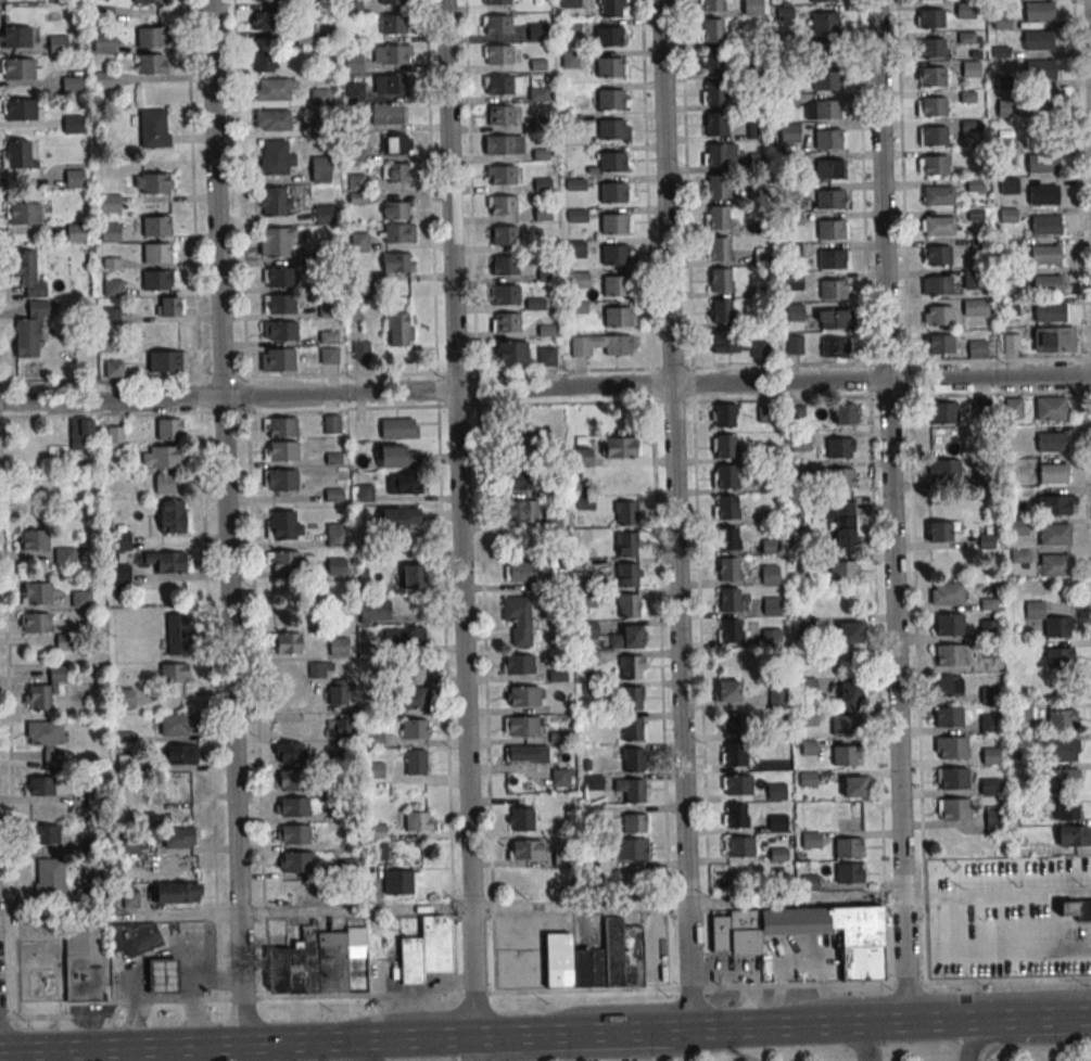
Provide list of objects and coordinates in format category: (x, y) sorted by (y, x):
building: (263, 0)
building: (148, 1)
building: (390, 1)
building: (496, 1)
building: (822, 1)
building: (302, 2)
building: (353, 4)
building: (711, 5)
building: (752, 7)
building: (609, 8)
building: (965, 10)
building: (1038, 11)
building: (930, 18)
building: (823, 22)
building: (265, 23)
building: (392, 24)
building: (496, 24)
building: (713, 29)
building: (536, 31)
building: (15, 36)
building: (152, 36)
building: (607, 36)
building: (304, 39)
building: (1036, 39)
building: (58, 43)
building: (103, 43)
building: (930, 48)
building: (824, 51)
building: (392, 54)
building: (497, 54)
building: (263, 61)
building: (712, 61)
building: (154, 63)
building: (353, 63)
building: (607, 66)
building: (20, 68)
building: (1039, 68)
building: (933, 77)
building: (104, 79)
building: (824, 80)
building: (71, 84)
building: (393, 85)
building: (498, 85)
building: (275, 89)
building: (354, 92)
building: (713, 92)
building: (538, 94)
building: (320, 97)
building: (608, 98)
building: (933, 106)
building: (1006, 107)
building: (22, 108)
building: (826, 110)
building: (386, 114)
building: (498, 114)
building: (272, 119)
building: (72, 124)
building: (714, 124)
building: (971, 126)
building: (153, 128)
building: (609, 128)
building: (789, 132)
building: (933, 136)
building: (826, 139)
building: (396, 143)
building: (500, 144)
building: (355, 153)
building: (16, 154)
building: (719, 155)
building: (277, 158)
building: (610, 162)
building: (1039, 163)
building: (934, 164)
building: (320, 168)
building: (827, 169)
building: (396, 172)
building: (502, 176)
building: (75, 178)
building: (154, 183)
building: (540, 184)
building: (718, 187)
building: (357, 189)
building: (611, 192)
building: (1042, 194)
building: (938, 195)
building: (828, 200)
building: (275, 201)
building: (110, 203)
building: (502, 205)
building: (394, 210)
building: (23, 213)
building: (324, 214)
building: (576, 215)
building: (1008, 215)
building: (716, 217)
building: (612, 223)
building: (1044, 225)
building: (157, 226)
building: (937, 226)
building: (829, 229)
building: (76, 232)
building: (110, 232)
building: (395, 232)
building: (503, 235)
building: (277, 242)
building: (719, 248)
building: (792, 251)
building: (157, 253)
building: (613, 255)
building: (936, 255)
building: (1043, 255)
building: (829, 258)
building: (396, 263)
building: (505, 266)
road: (668, 272)
building: (28, 273)
building: (279, 277)
building: (974, 279)
building: (158, 280)
building: (579, 280)
building: (721, 280)
building: (937, 284)
building: (614, 285)
building: (1045, 285)
building: (112, 287)
building: (830, 289)
building: (506, 295)
building: (278, 304)
building: (169, 307)
building: (975, 307)
building: (1010, 307)
building: (721, 311)
building: (1046, 312)
building: (937, 315)
building: (616, 317)
building: (832, 320)
building: (507, 323)
building: (399, 329)
building: (29, 330)
building: (279, 330)
building: (1054, 340)
building: (737, 344)
building: (795, 344)
building: (939, 344)
building: (1010, 344)
building: (616, 345)
building: (834, 347)
building: (977, 348)
building: (360, 349)
building: (511, 351)
building: (329, 355)
building: (546, 356)
building: (277, 359)
building: (167, 362)
building: (113, 369)
road: (545, 384)
road: (891, 384)
road: (887, 395)
building: (1012, 408)
building: (1050, 408)
building: (797, 410)
building: (980, 410)
building: (845, 412)
building: (942, 412)
building: (765, 413)
building: (725, 414)
building: (331, 424)
building: (281, 427)
building: (170, 429)
building: (398, 429)
building: (80, 434)
road: (224, 437)
building: (510, 439)
building: (1051, 440)
building: (724, 445)
building: (621, 447)
building: (838, 447)
building: (281, 451)
building: (396, 456)
building: (582, 457)
building: (164, 465)
building: (943, 470)
building: (1053, 473)
building: (725, 476)
building: (838, 477)
building: (281, 480)
building: (520, 481)
building: (403, 483)
building: (1056, 504)
building: (726, 507)
building: (520, 510)
building: (626, 513)
building: (173, 515)
road: (460, 517)
building: (399, 519)
building: (841, 523)
building: (282, 524)
building: (1016, 527)
building: (942, 530)
building: (333, 534)
building: (1054, 534)
building: (728, 538)
building: (33, 539)
building: (119, 541)
building: (985, 541)
building: (626, 542)
building: (770, 546)
building: (1019, 555)
building: (68, 558)
building: (284, 561)
building: (168, 562)
building: (1054, 565)
building: (335, 566)
building: (727, 567)
building: (518, 571)
building: (842, 571)
building: (120, 573)
building: (629, 574)
building: (770, 574)
building: (410, 576)
building: (37, 592)
building: (946, 593)
building: (80, 599)
building: (731, 599)
building: (630, 605)
building: (771, 605)
building: (1033, 610)
building: (375, 611)
building: (518, 618)
building: (35, 622)
building: (948, 625)
building: (987, 629)
building: (728, 630)
building: (850, 632)
building: (177, 634)
building: (404, 636)
building: (771, 636)
building: (626, 638)
building: (284, 643)
building: (338, 645)
building: (948, 656)
building: (1058, 657)
building: (518, 665)
building: (632, 667)
building: (174, 674)
building: (557, 675)
building: (807, 686)
building: (946, 686)
building: (43, 690)
building: (728, 690)
building: (337, 692)
building: (850, 693)
building: (988, 694)
building: (776, 695)
building: (415, 696)
building: (522, 696)
building: (124, 698)
building: (633, 698)
building: (1022, 713)
building: (807, 717)
building: (948, 717)
building: (1062, 718)
building: (178, 724)
building: (733, 724)
building: (989, 724)
building: (842, 725)
building: (520, 726)
building: (337, 727)
building: (414, 728)
building: (633, 728)
building: (373, 737)
building: (47, 741)
building: (952, 747)
building: (1061, 750)
building: (288, 752)
building: (181, 754)
building: (525, 754)
building: (733, 754)
building: (989, 755)
building: (845, 756)
building: (633, 759)
building: (417, 762)
building: (375, 770)
building: (807, 776)
building: (560, 777)
building: (952, 778)
building: (1062, 779)
building: (289, 780)
building: (178, 783)
building: (39, 785)
building: (737, 785)
building: (990, 785)
road: (684, 787)
building: (854, 787)
building: (631, 790)
building: (776, 791)
building: (292, 806)
building: (1068, 808)
building: (953, 809)
building: (735, 815)
building: (848, 816)
building: (520, 818)
building: (417, 821)
building: (635, 822)
building: (777, 822)
building: (46, 834)
building: (293, 834)
building: (1074, 836)
building: (178, 838)
building: (810, 840)
building: (738, 847)
building: (849, 847)
building: (527, 849)
building: (630, 849)
building: (295, 862)
building: (850, 872)
building: (48, 877)
building: (397, 882)
building: (176, 892)
road: (997, 895)
road: (902, 896)
road: (795, 900)
road: (580, 906)
building: (1074, 909)
road: (355, 910)
road: (119, 917)
building: (792, 922)
building: (857, 925)
building: (718, 931)
building: (743, 932)
building: (132, 938)
building: (943, 942)
building: (1004, 949)
building: (426, 950)
road: (240, 959)
building: (596, 959)
building: (321, 961)
building: (860, 964)
building: (80, 969)
building: (161, 977)
road: (538, 992)
road: (1057, 1017)
road: (965, 1020)
road: (782, 1025)
road: (599, 1032)
road: (509, 1035)
road: (1023, 1038)
road: (360, 1039)
road: (861, 1040)
road: (122, 1047)
road: (360, 1050)
road: (609, 1053)

